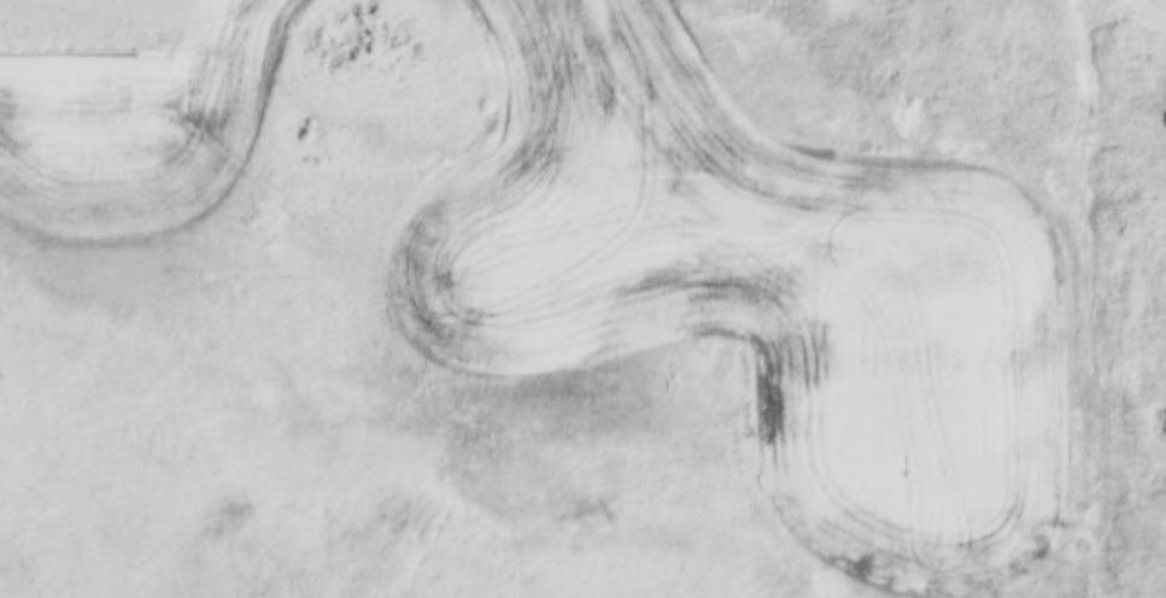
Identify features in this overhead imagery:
road: (1062, 292)

